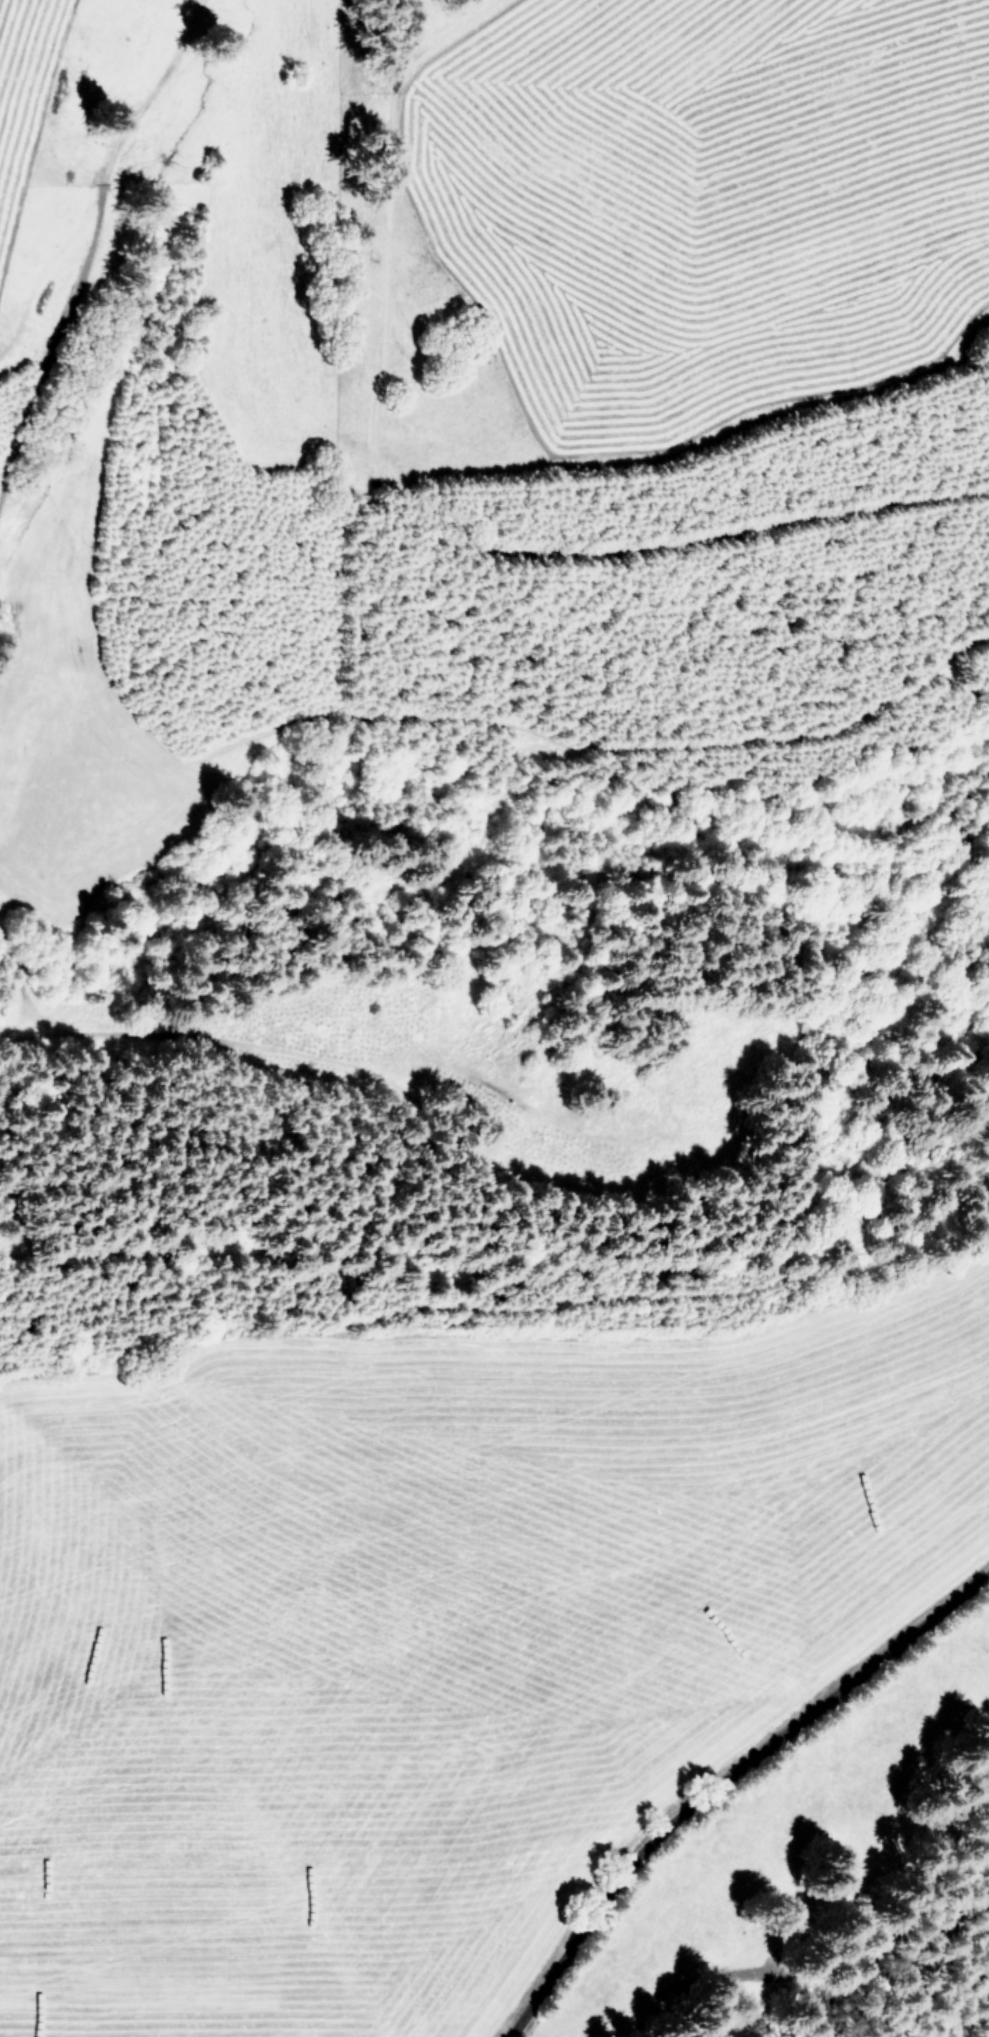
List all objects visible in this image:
crop: (51, 76)
crop: (699, 189)
road: (95, 240)
road: (73, 1020)
road: (723, 1783)

